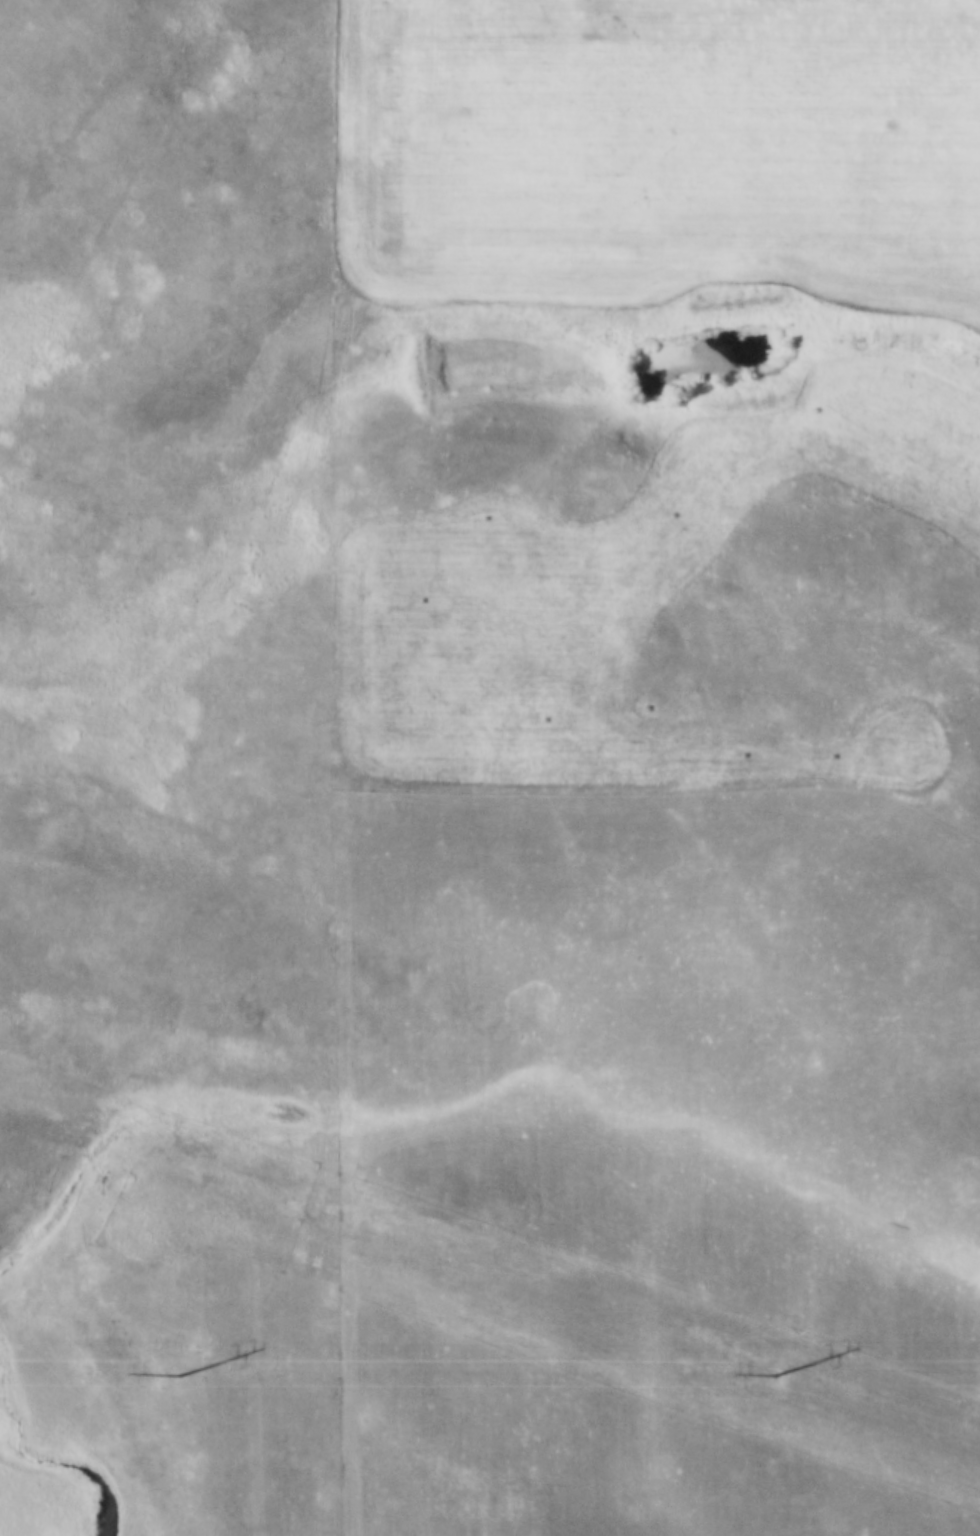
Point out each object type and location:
power tower: (176, 1375)
power tower: (767, 1375)

